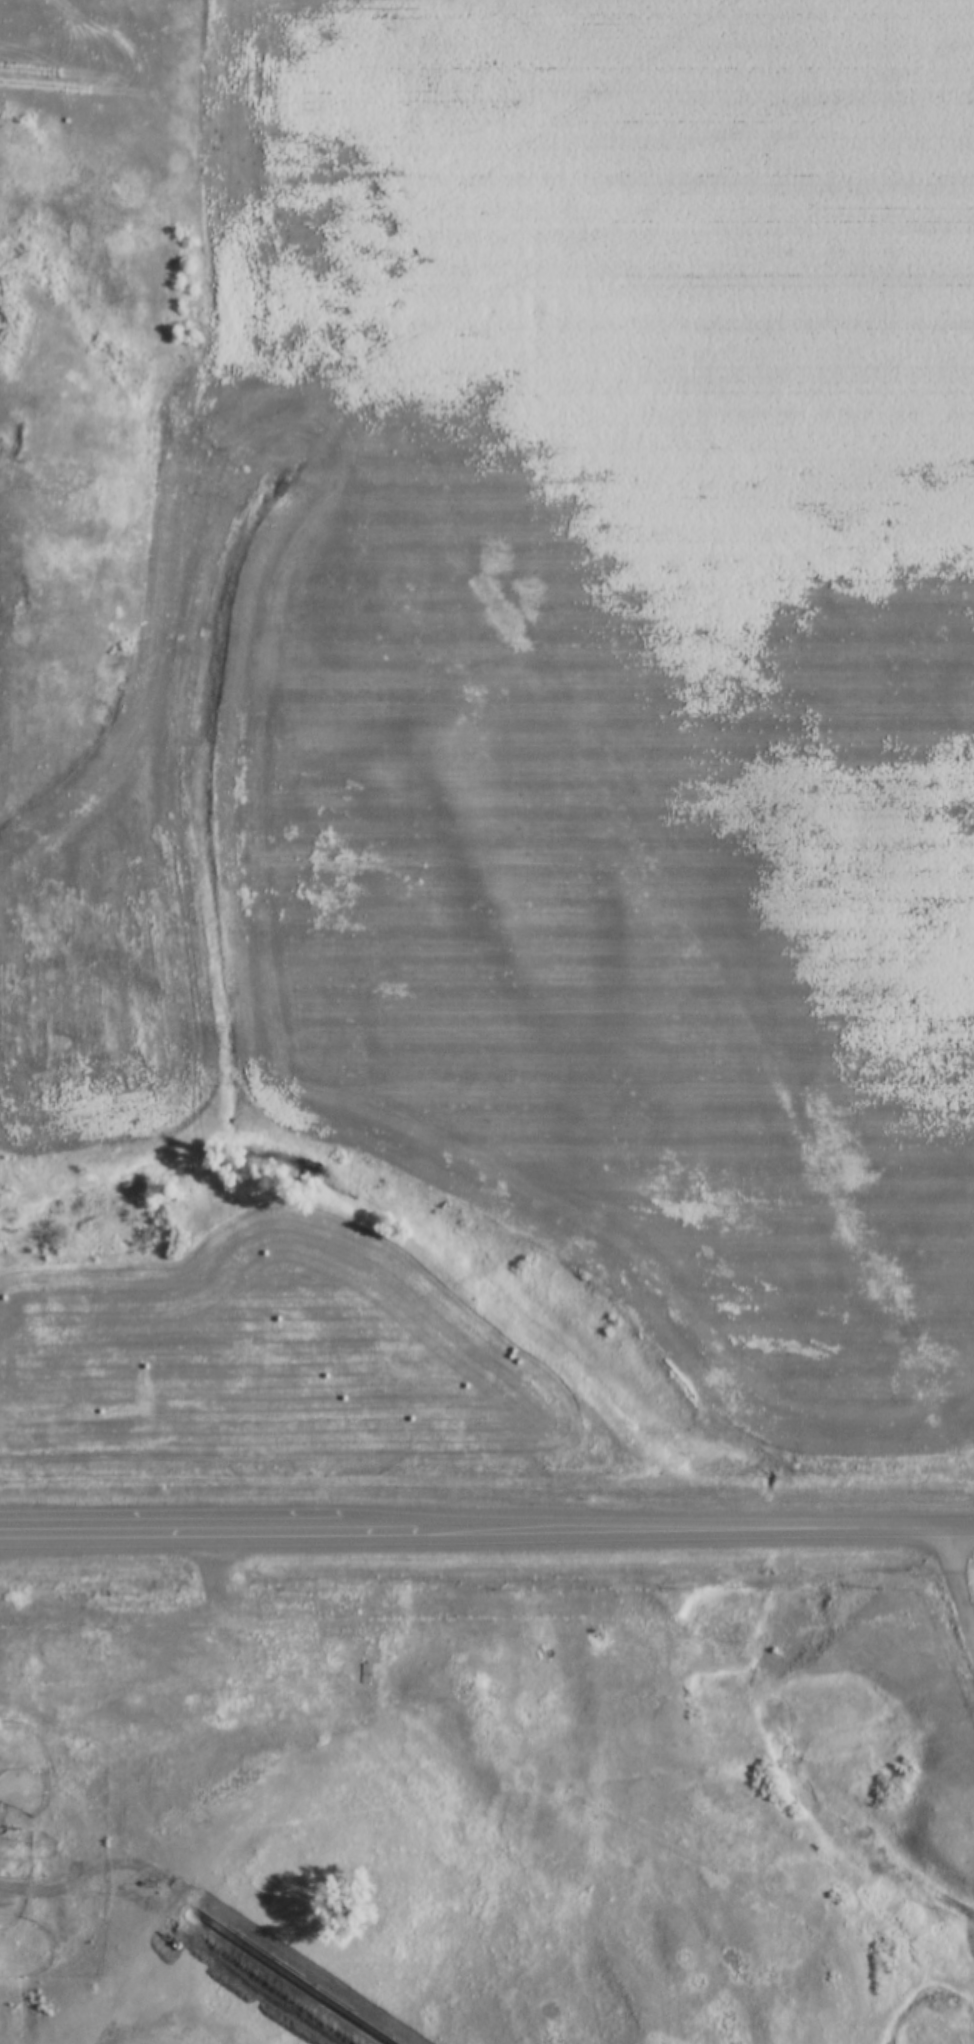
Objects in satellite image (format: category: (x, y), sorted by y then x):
road: (146, 700)
road: (487, 1534)
road: (958, 1590)

